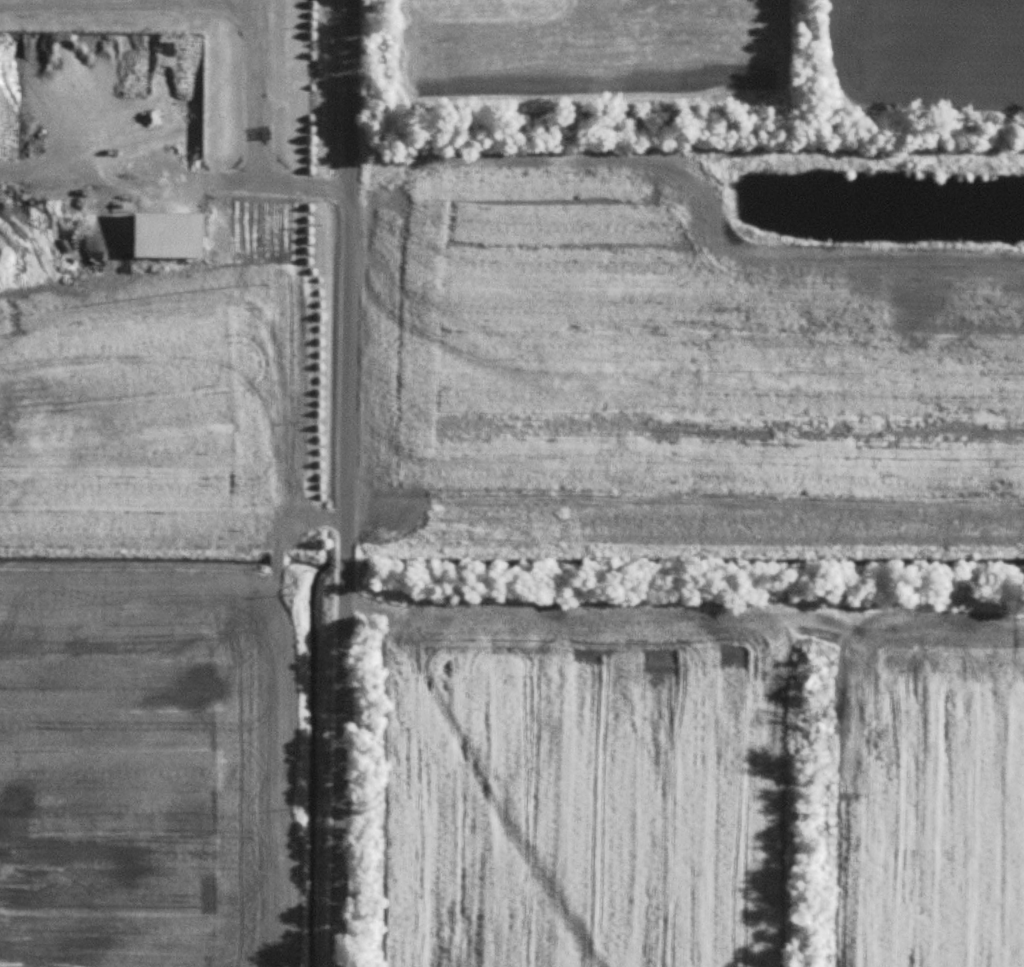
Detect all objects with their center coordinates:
road: (162, 1)
road: (124, 2)
road: (247, 136)
road: (123, 176)
building: (170, 235)
road: (344, 483)

